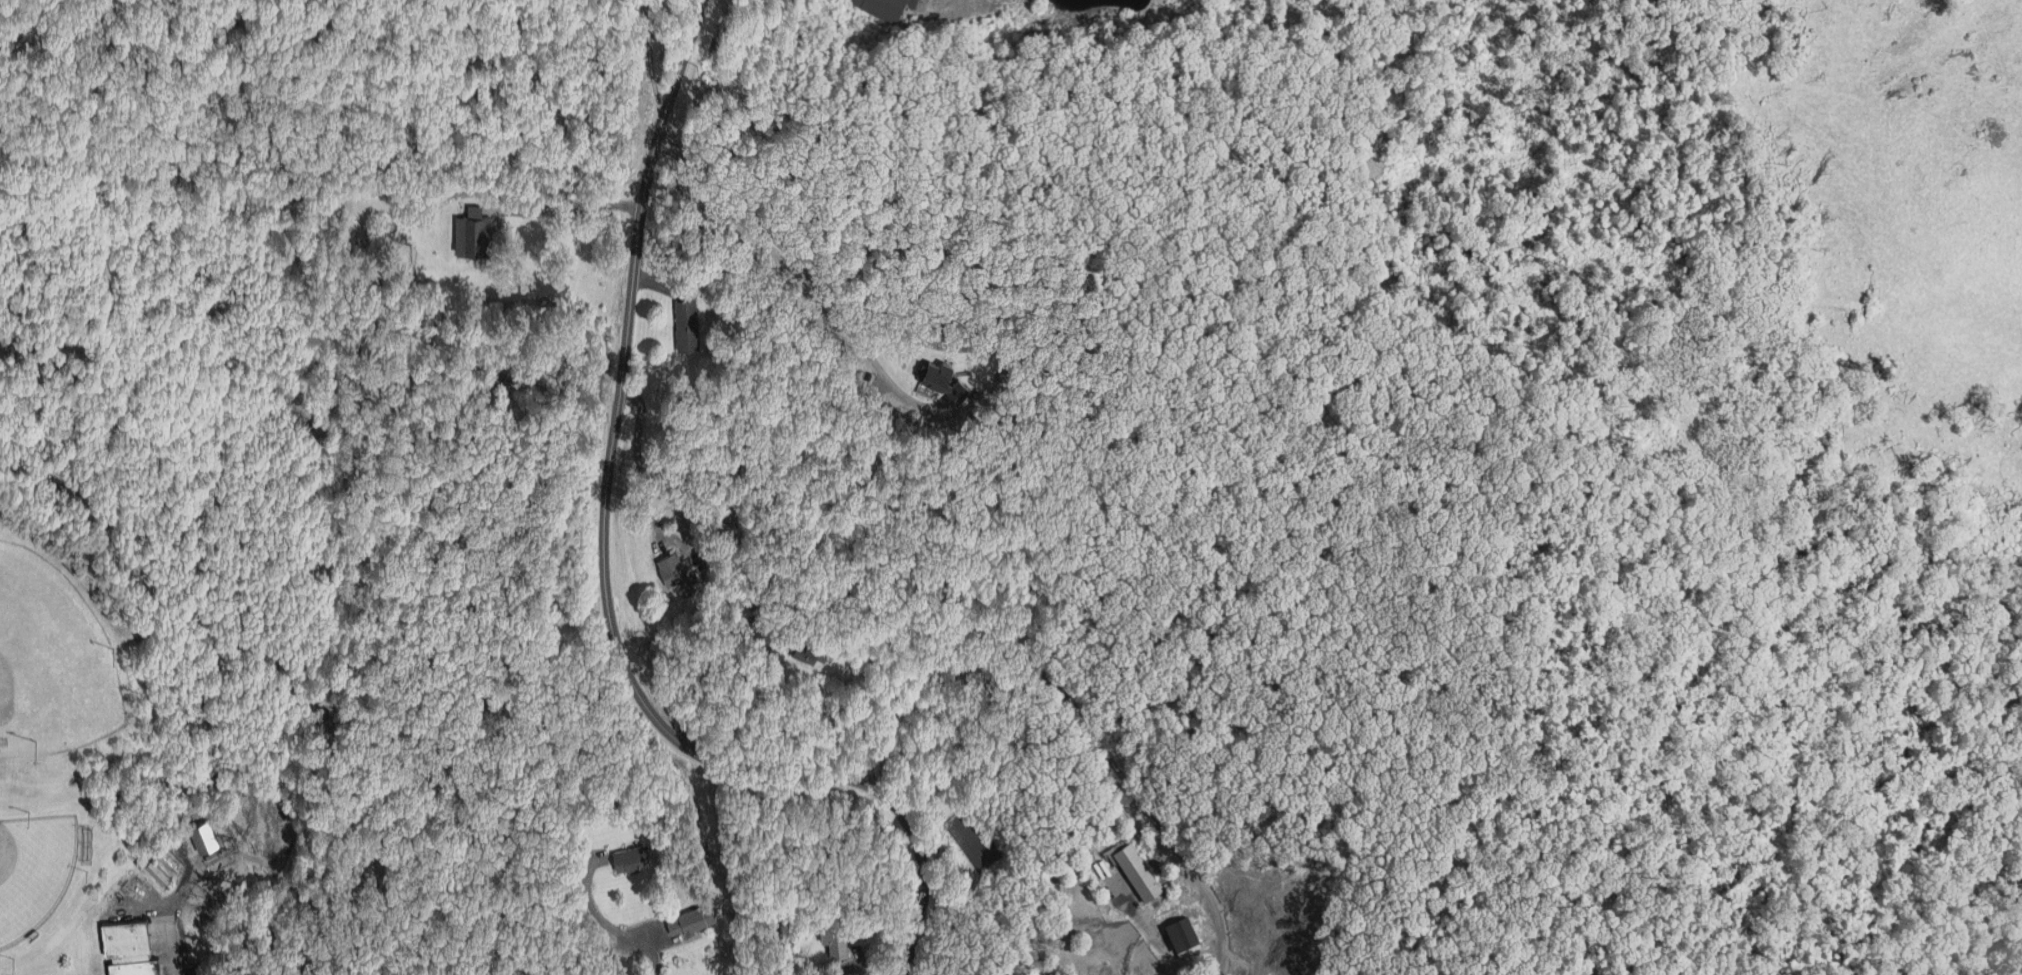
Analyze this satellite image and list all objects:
building: (885, 8)
building: (517, 190)
building: (472, 225)
building: (686, 319)
park: (303, 459)
building: (671, 564)
road: (607, 581)
building: (761, 618)
building: (807, 640)
park: (55, 657)
building: (205, 831)
building: (630, 850)
building: (167, 856)
building: (1138, 870)
park: (42, 874)
building: (692, 911)
building: (838, 933)
building: (128, 948)
road: (663, 954)

